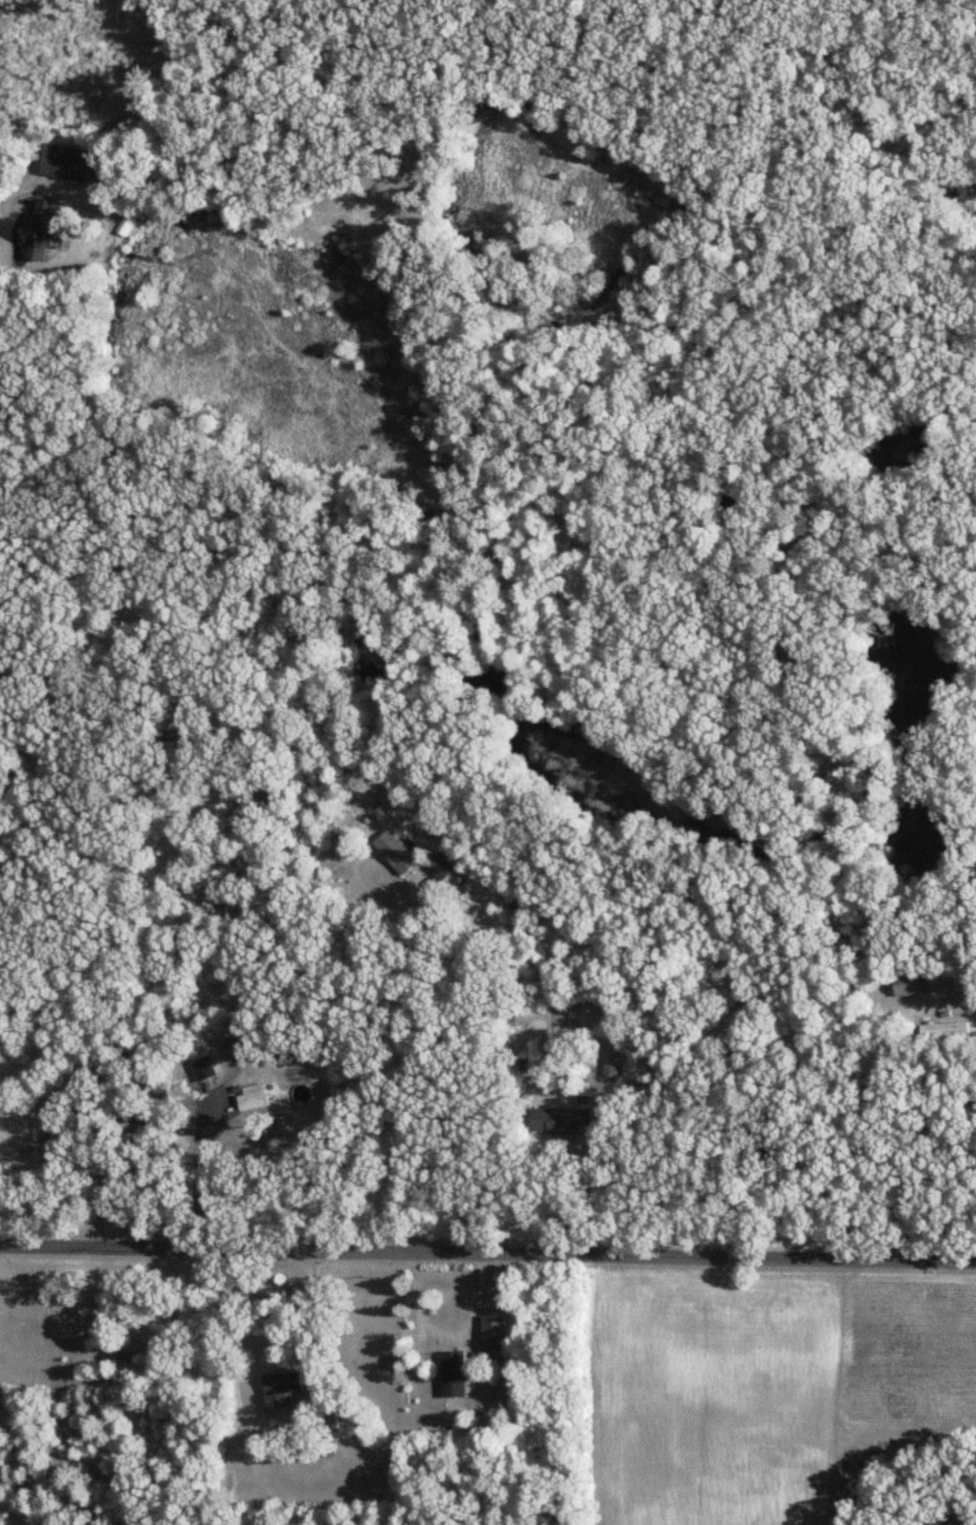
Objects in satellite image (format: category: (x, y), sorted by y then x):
building: (66, 164)
road: (3, 208)
building: (42, 232)
building: (183, 738)
building: (397, 853)
building: (442, 867)
building: (910, 986)
building: (946, 1030)
road: (588, 1032)
building: (202, 1071)
building: (128, 1075)
road: (68, 1076)
road: (197, 1089)
building: (261, 1098)
road: (387, 1117)
building: (561, 1121)
road: (488, 1253)
road: (445, 1332)
building: (494, 1334)
building: (455, 1375)
building: (283, 1384)

